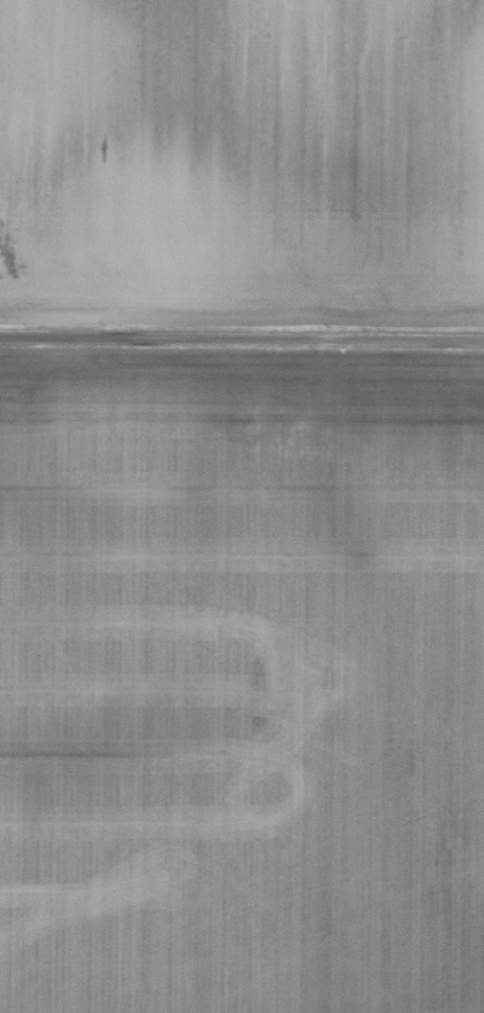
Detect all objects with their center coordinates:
road: (242, 337)

